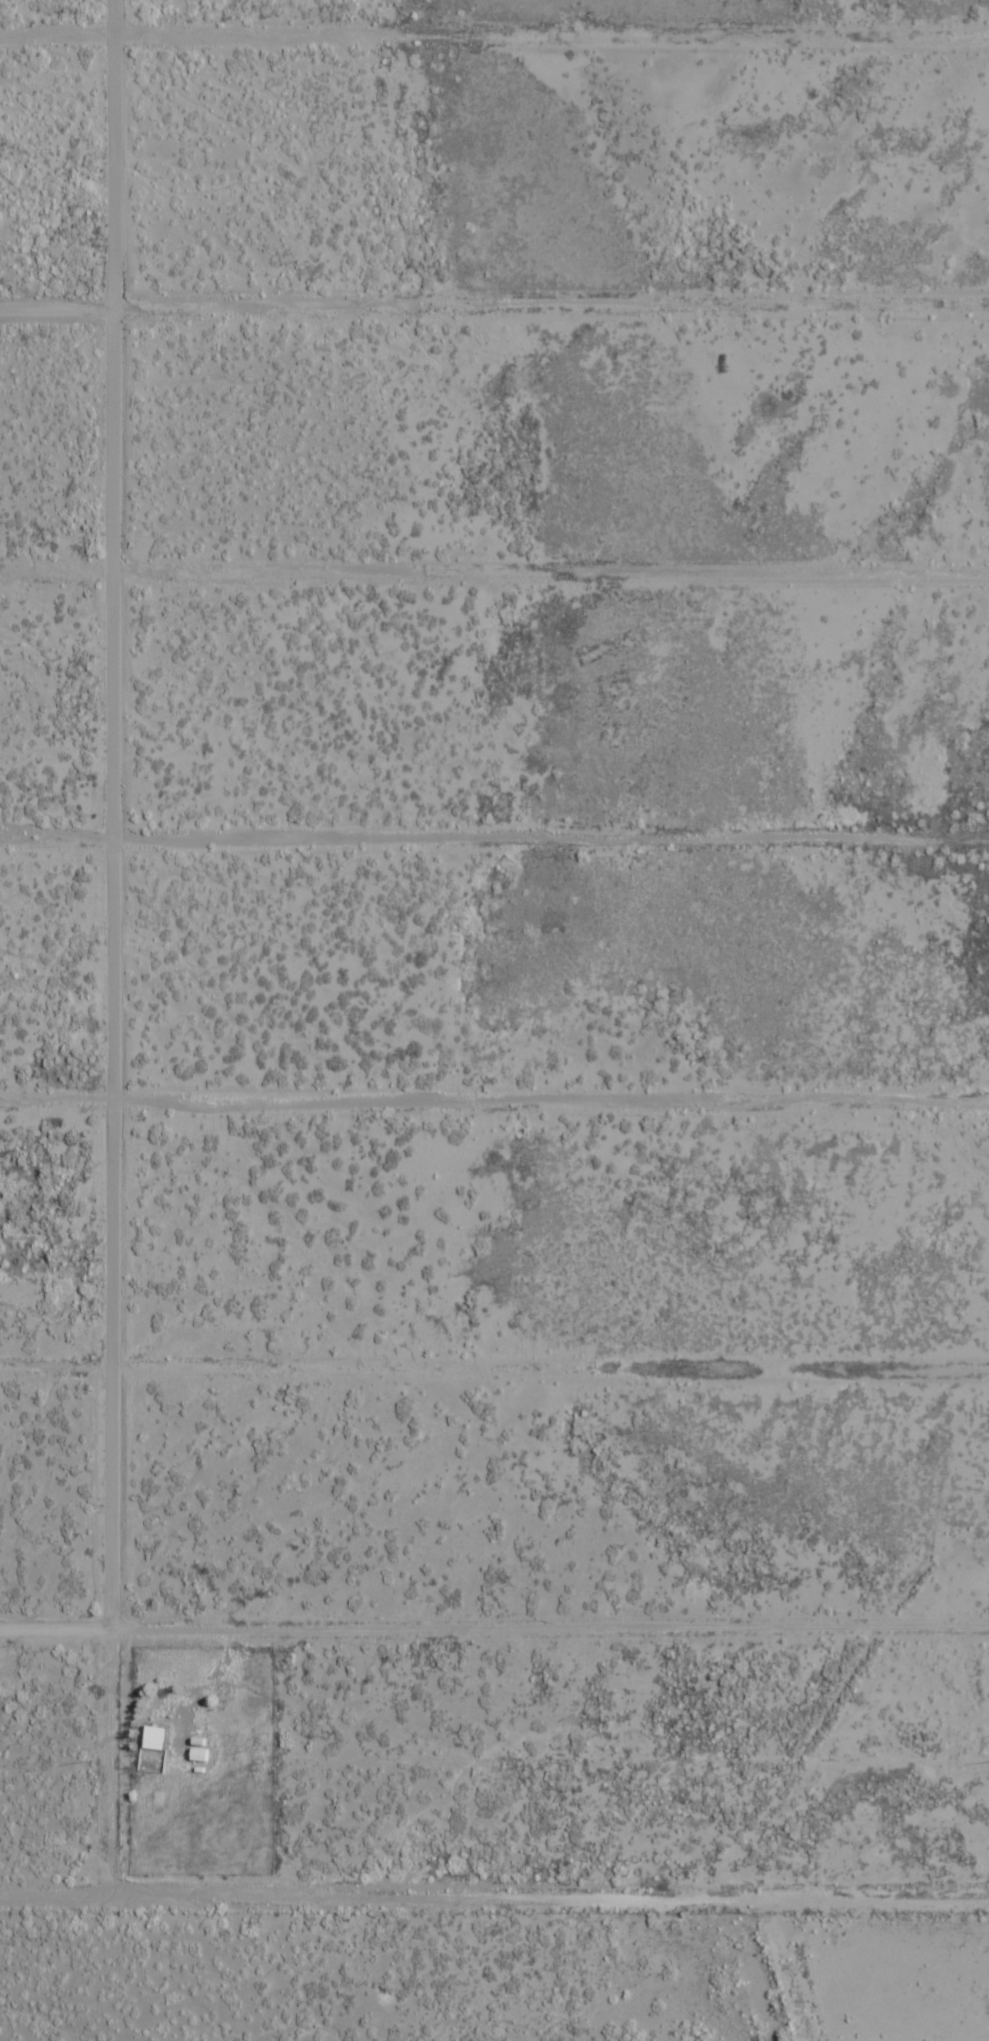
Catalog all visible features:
road: (494, 31)
road: (494, 310)
road: (494, 576)
road: (494, 830)
road: (108, 947)
road: (494, 1098)
road: (545, 1337)
road: (50, 1340)
road: (548, 1602)
road: (53, 1607)
building: (151, 1737)
road: (354, 1899)

